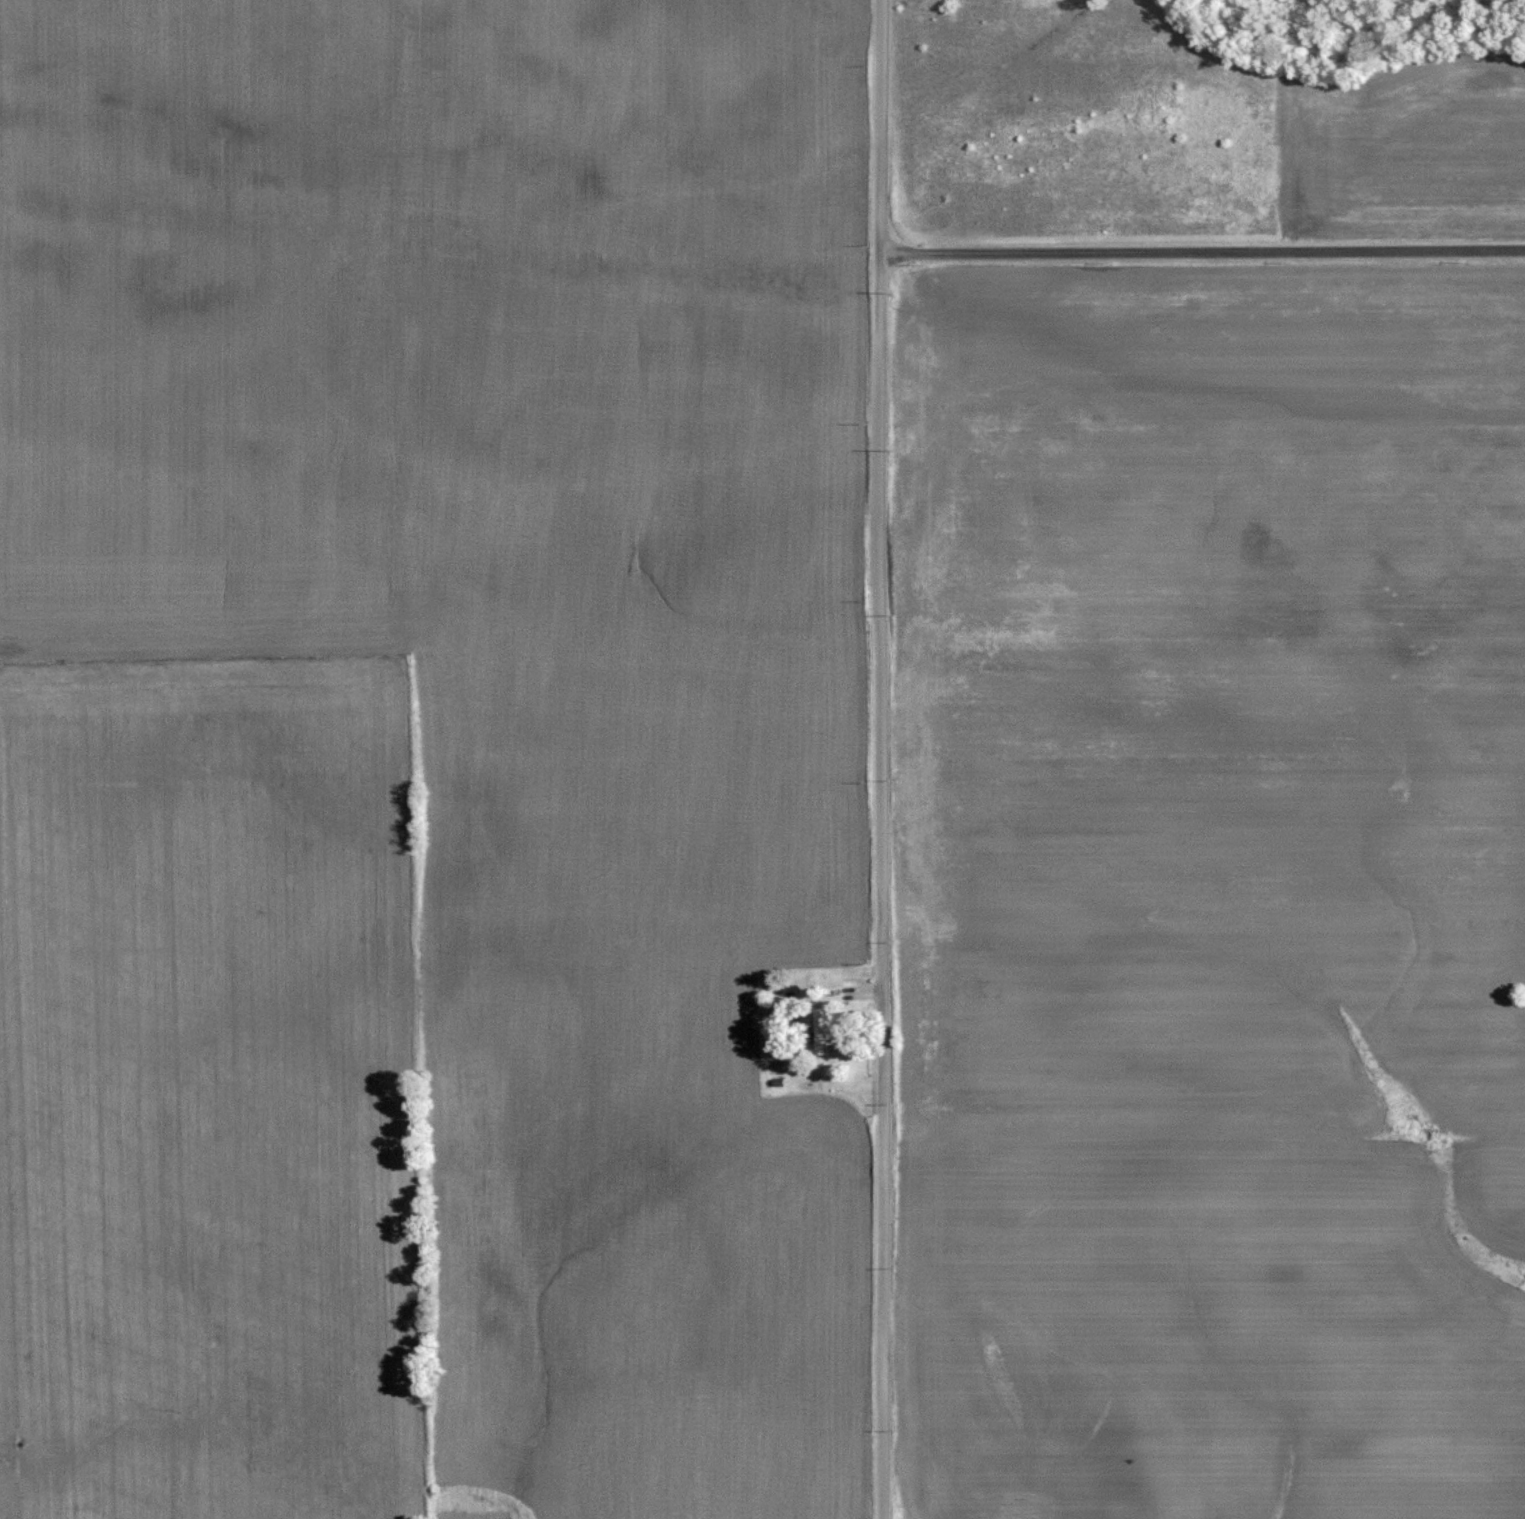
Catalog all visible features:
crop: (1406, 133)
road: (1201, 253)
crop: (503, 628)
road: (880, 759)
crop: (1222, 900)
crop: (203, 1099)

